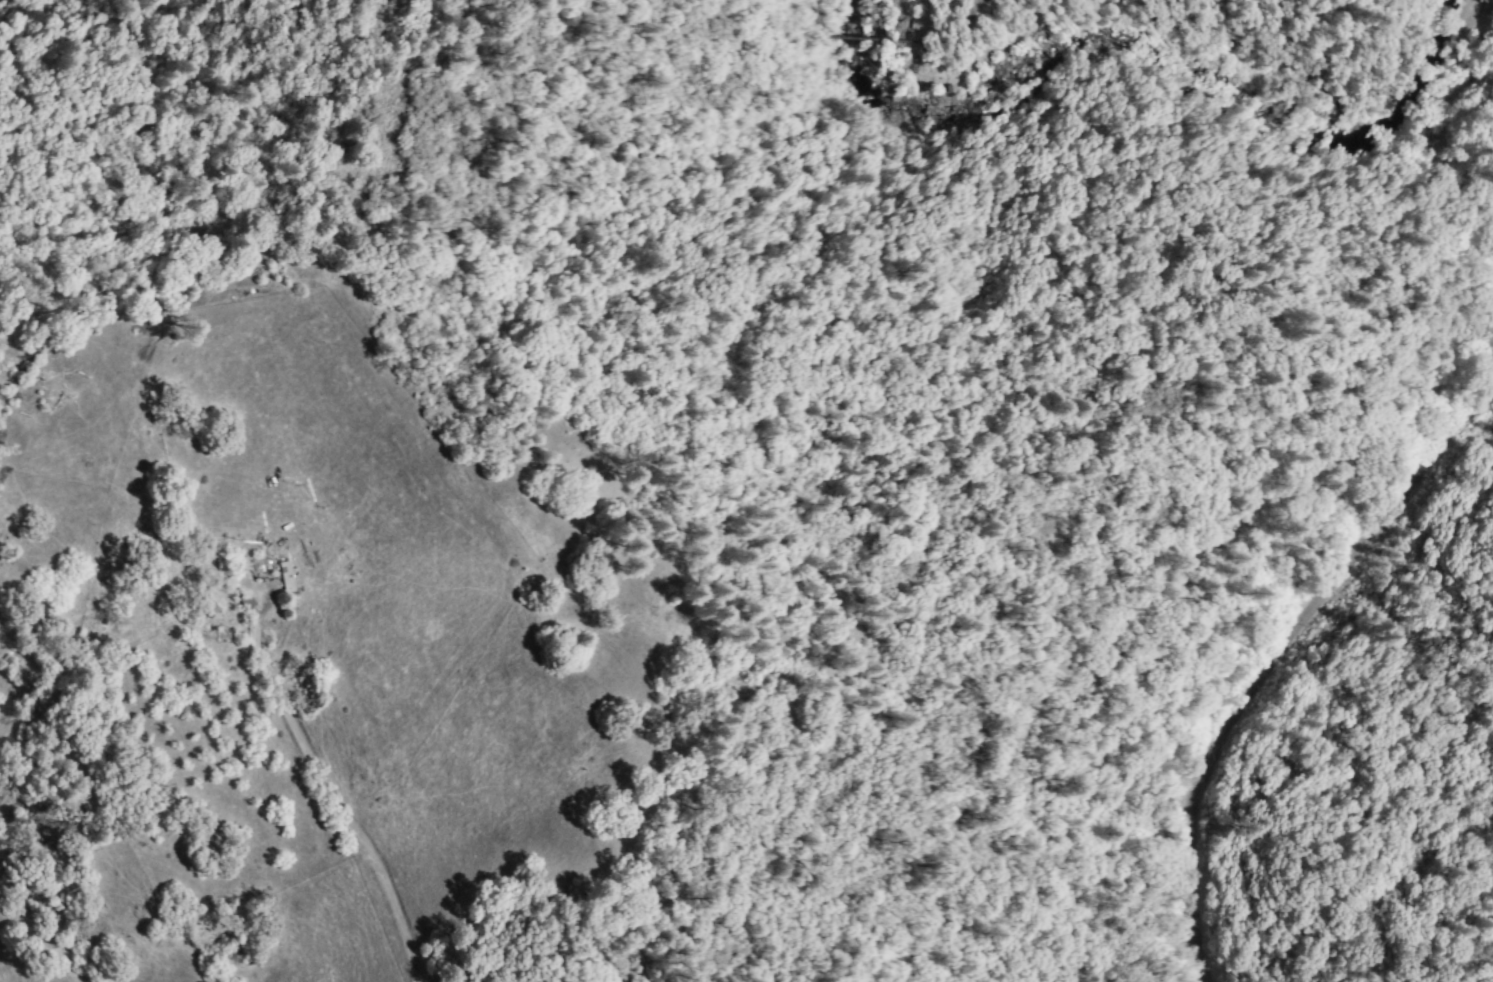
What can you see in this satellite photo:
road: (982, 5)
river: (1160, 95)
building: (244, 601)
building: (208, 603)
road: (1275, 662)
road: (333, 793)

